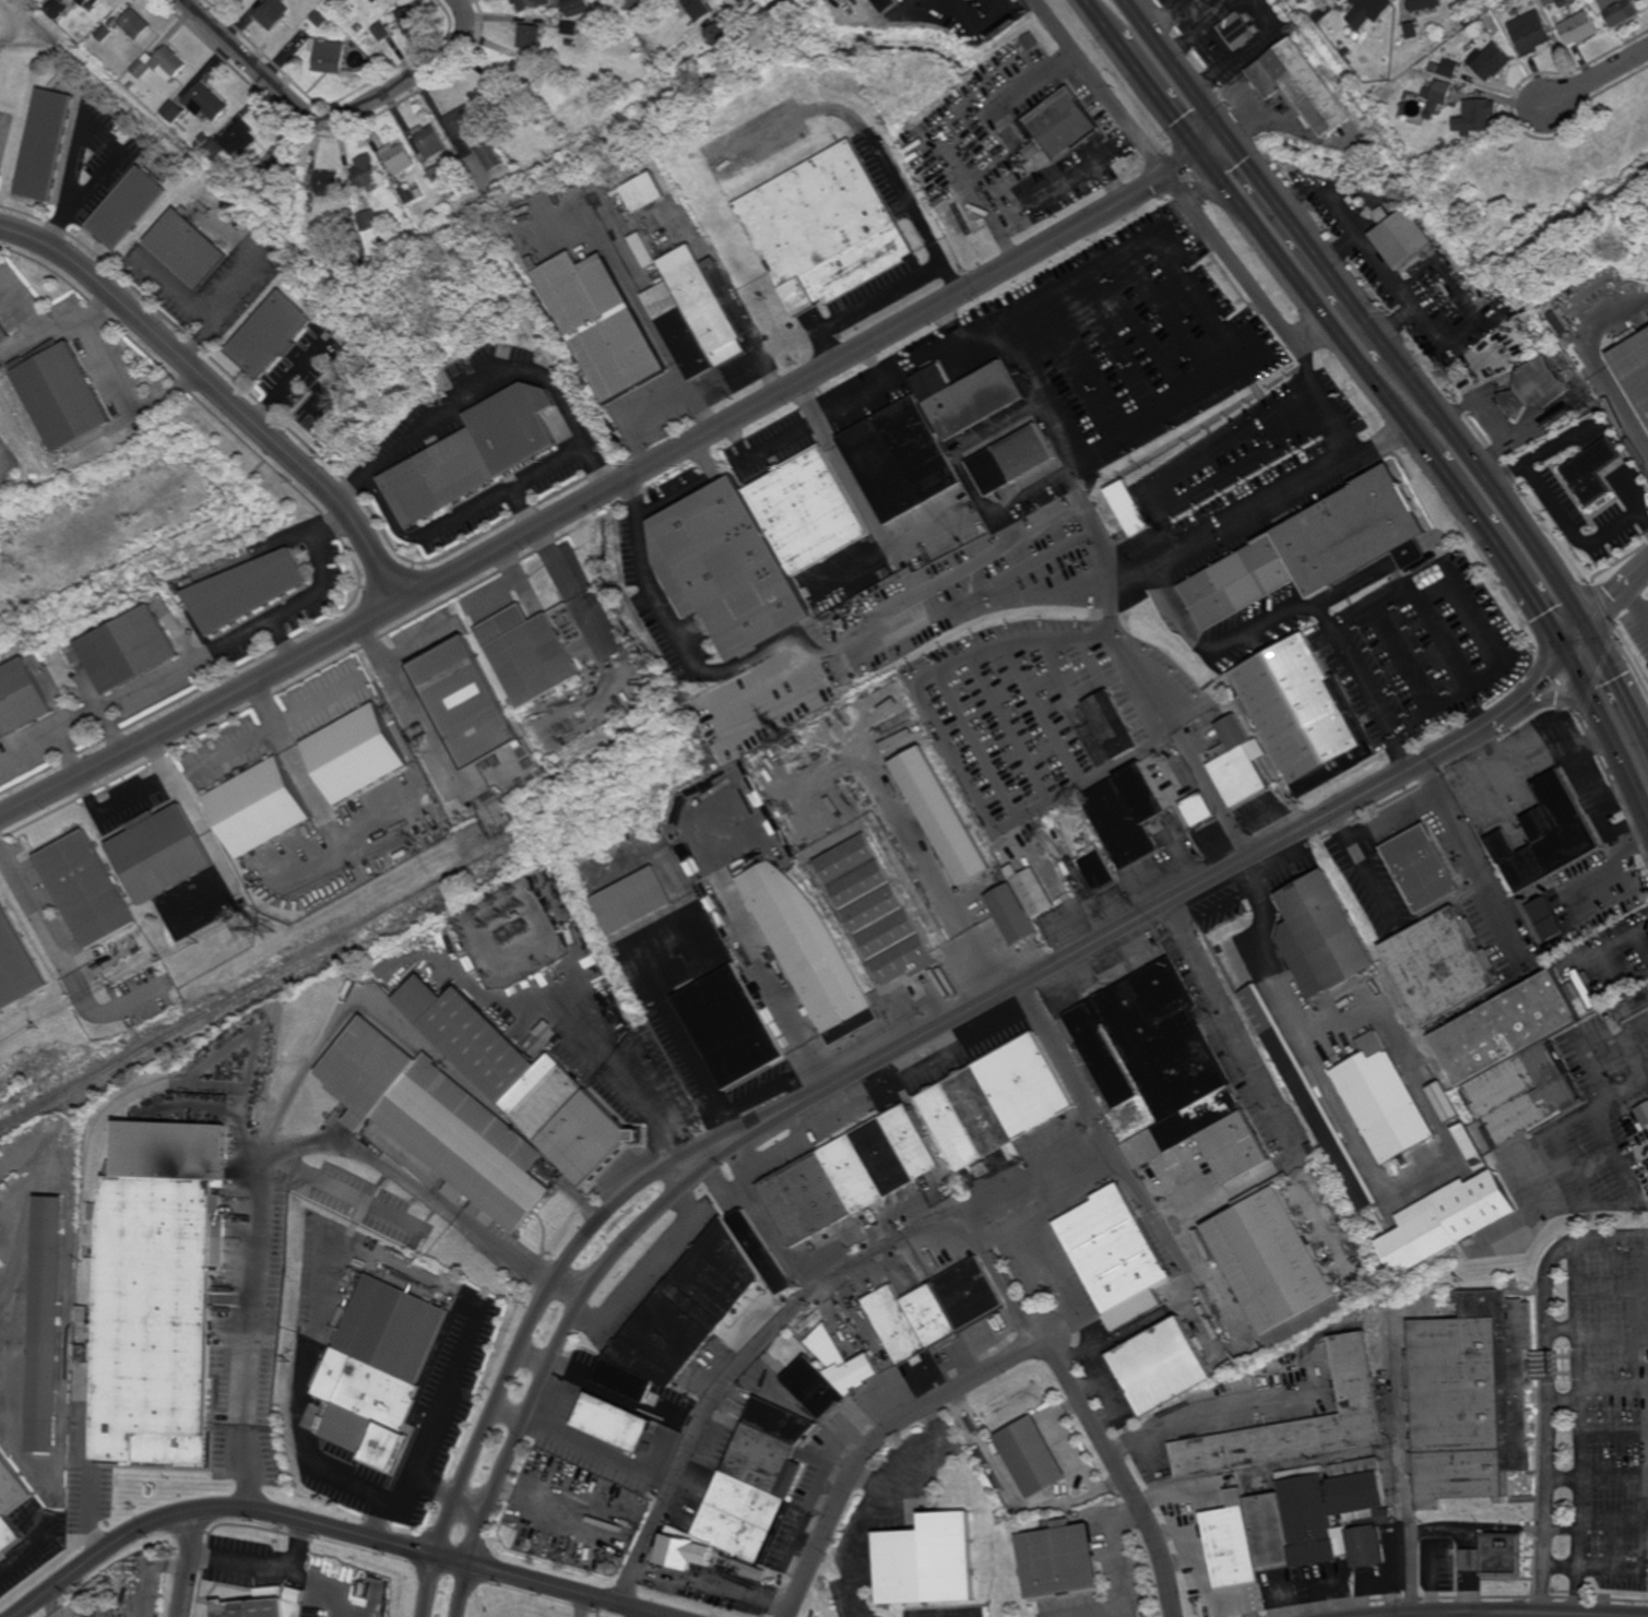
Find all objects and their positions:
building: (348, 0)
building: (348, 0)
building: (1599, 0)
building: (376, 1)
building: (936, 2)
building: (1549, 2)
building: (84, 3)
building: (530, 3)
road: (764, 3)
building: (631, 4)
building: (1425, 4)
building: (887, 5)
building: (579, 7)
building: (58, 8)
building: (1375, 8)
building: (697, 9)
building: (1620, 10)
building: (273, 13)
building: (410, 19)
building: (319, 20)
road: (1102, 20)
building: (1466, 21)
building: (134, 23)
building: (358, 27)
building: (570, 27)
building: (1578, 27)
building: (1240, 29)
building: (1412, 31)
building: (382, 32)
building: (104, 33)
building: (1530, 33)
building: (718, 34)
building: (532, 36)
building: (570, 43)
building: (686, 45)
building: (1343, 48)
building: (329, 56)
building: (1491, 61)
building: (161, 63)
building: (1435, 67)
building: (1450, 68)
road: (1179, 70)
building: (518, 75)
road: (1597, 75)
building: (1301, 86)
building: (1438, 91)
power tower: (1222, 97)
road: (1162, 98)
building: (489, 100)
building: (206, 102)
building: (173, 111)
building: (1431, 111)
building: (1475, 116)
building: (1063, 118)
road: (333, 119)
building: (460, 120)
road: (1249, 130)
building: (912, 134)
building: (204, 138)
building: (1443, 140)
building: (428, 141)
traffic signals: (1233, 141)
building: (232, 142)
building: (47, 143)
building: (198, 145)
building: (490, 156)
traffic signals: (1206, 156)
building: (399, 158)
building: (1039, 159)
building: (281, 170)
building: (366, 171)
building: (436, 174)
building: (328, 183)
building: (254, 186)
building: (643, 191)
building: (406, 193)
road: (903, 195)
building: (130, 204)
building: (628, 218)
building: (369, 221)
road: (1205, 225)
building: (826, 228)
building: (1404, 239)
building: (190, 245)
road: (1312, 245)
building: (643, 250)
road: (1177, 259)
road: (949, 278)
road: (863, 305)
road: (1320, 307)
power tower: (1387, 314)
building: (696, 316)
building: (1562, 320)
building: (598, 323)
building: (1178, 328)
building: (4, 332)
building: (275, 332)
road: (748, 332)
road: (1316, 335)
road: (1594, 367)
building: (1635, 369)
power tower: (1457, 376)
road: (114, 378)
road: (489, 381)
building: (1537, 389)
building: (63, 394)
road: (222, 394)
road: (700, 412)
road: (642, 419)
building: (924, 438)
road: (2, 449)
building: (1027, 454)
building: (1604, 454)
building: (469, 457)
road: (525, 477)
building: (1588, 478)
road: (619, 485)
road: (1494, 486)
road: (695, 488)
road: (1285, 496)
road: (862, 499)
road: (1466, 500)
building: (1129, 508)
building: (808, 511)
road: (388, 512)
road: (461, 512)
road: (1565, 520)
power tower: (1171, 534)
building: (1313, 548)
building: (722, 568)
road: (992, 584)
building: (248, 590)
road: (317, 591)
road: (568, 594)
road: (1615, 595)
road: (1533, 597)
road: (1636, 604)
traffic signals: (1588, 630)
road: (1347, 647)
building: (129, 649)
road: (1491, 650)
building: (530, 653)
traffic signals: (1567, 656)
road: (692, 668)
road: (163, 678)
road: (1619, 681)
building: (21, 699)
building: (466, 702)
road: (419, 704)
building: (1302, 714)
building: (1108, 728)
road: (115, 730)
road: (1609, 735)
power tower: (793, 744)
road: (27, 747)
building: (357, 753)
road: (67, 754)
road: (1123, 760)
building: (1237, 762)
road: (1533, 763)
road: (300, 772)
road: (1212, 792)
road: (1594, 794)
road: (132, 796)
building: (260, 808)
building: (1202, 809)
building: (946, 817)
building: (1124, 823)
road: (1620, 829)
building: (1549, 835)
building: (161, 854)
road: (1363, 866)
building: (1422, 869)
building: (86, 890)
building: (635, 903)
building: (1025, 904)
railway: (416, 907)
building: (879, 912)
road: (1146, 917)
power tower: (262, 929)
power substation: (511, 936)
building: (1325, 940)
building: (810, 950)
building: (15, 963)
road: (63, 963)
building: (1440, 967)
building: (1586, 987)
building: (1633, 1006)
road: (582, 1024)
building: (732, 1029)
road: (1238, 1030)
road: (679, 1032)
building: (1516, 1058)
building: (1169, 1071)
road: (304, 1075)
building: (522, 1082)
road: (1628, 1084)
road: (767, 1094)
building: (1383, 1097)
building: (999, 1103)
building: (1446, 1103)
building: (1647, 1103)
road: (650, 1111)
building: (1644, 1114)
building: (437, 1120)
road: (727, 1129)
road: (1107, 1132)
road: (1546, 1132)
building: (1337, 1145)
building: (1472, 1145)
building: (850, 1175)
road: (422, 1179)
railway: (39, 1184)
road: (345, 1184)
road: (342, 1232)
building: (1492, 1233)
road: (1589, 1236)
road: (1041, 1244)
road: (1170, 1244)
building: (763, 1251)
building: (1119, 1253)
road: (656, 1258)
building: (1277, 1268)
road: (259, 1271)
road: (569, 1293)
road: (795, 1309)
building: (935, 1309)
road: (1545, 1309)
building: (85, 1313)
building: (681, 1315)
road: (1579, 1316)
building: (157, 1318)
building: (47, 1325)
building: (393, 1328)
building: (85, 1353)
road: (557, 1354)
building: (1165, 1365)
road: (1546, 1365)
road: (512, 1367)
building: (830, 1374)
road: (1549, 1388)
road: (1614, 1392)
road: (1565, 1394)
building: (1475, 1398)
building: (361, 1400)
building: (615, 1422)
building: (1302, 1423)
road: (877, 1441)
building: (1034, 1455)
road: (1124, 1472)
building: (1231, 1478)
building: (758, 1481)
road: (1596, 1482)
road: (1406, 1495)
road: (407, 1496)
building: (11, 1503)
road: (1580, 1505)
road: (1546, 1506)
road: (92, 1510)
building: (1303, 1522)
road: (335, 1527)
building: (688, 1551)
road: (102, 1553)
building: (1498, 1556)
building: (1063, 1559)
building: (927, 1561)
road: (190, 1562)
road: (1637, 1566)
road: (265, 1567)
road: (328, 1585)
road: (464, 1590)
road: (568, 1591)
building: (262, 1606)
building: (103, 1613)
road: (647, 1614)
road: (1479, 1614)
road: (1418, 1615)

